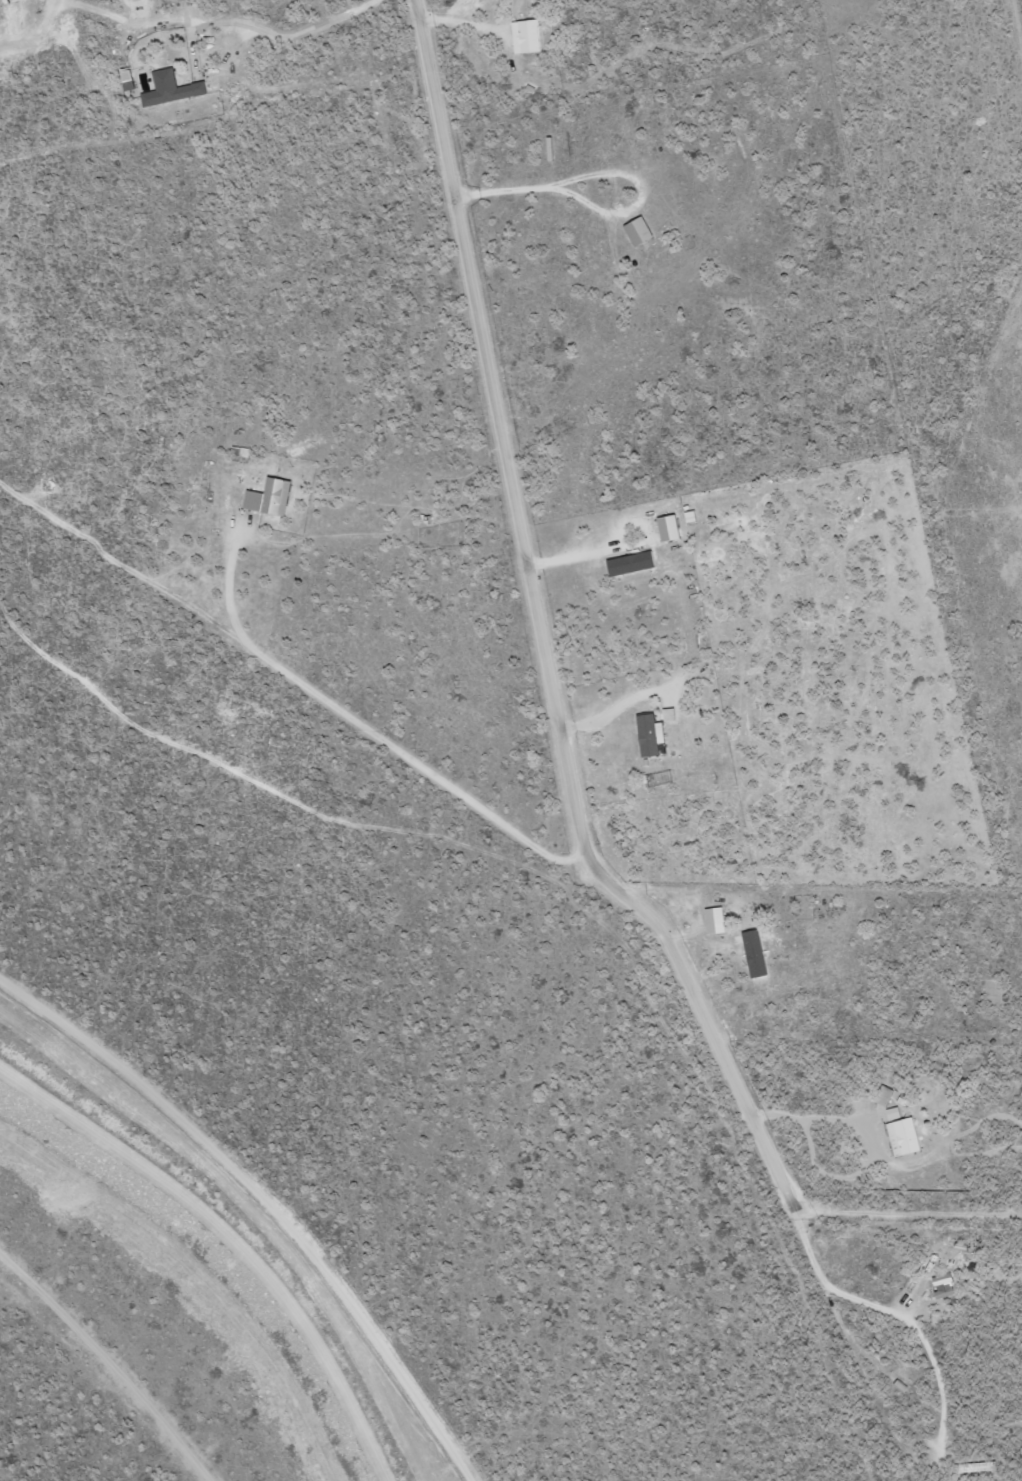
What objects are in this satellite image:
building: (528, 35)
building: (173, 88)
building: (641, 231)
building: (272, 497)
building: (672, 527)
building: (633, 563)
road: (537, 632)
building: (672, 714)
building: (654, 735)
building: (718, 920)
building: (759, 953)
building: (886, 1095)
building: (895, 1113)
building: (906, 1137)
road: (265, 1202)
road: (908, 1213)
road: (233, 1237)
dam: (198, 1244)
building: (947, 1286)
road: (108, 1364)

